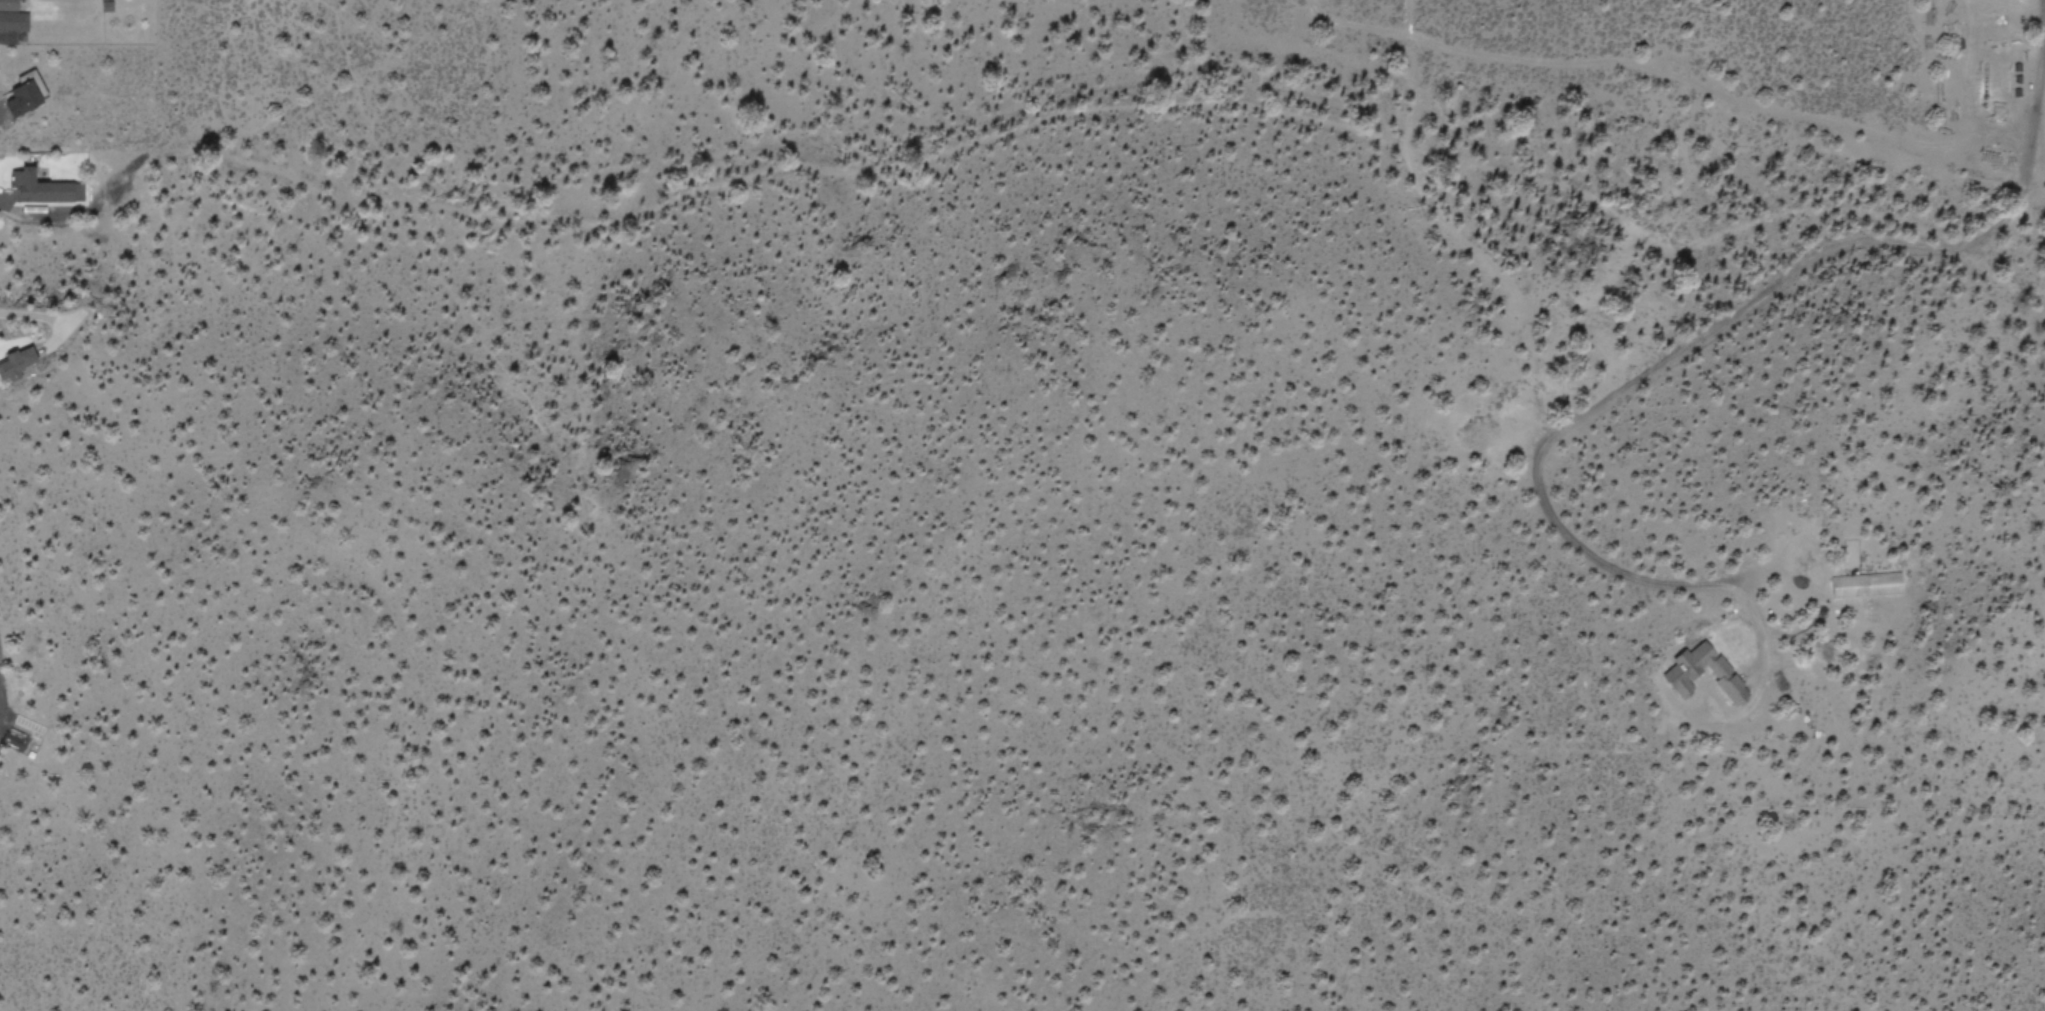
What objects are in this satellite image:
building: (6, 5)
building: (14, 96)
building: (17, 361)
building: (1861, 584)
building: (1676, 670)

